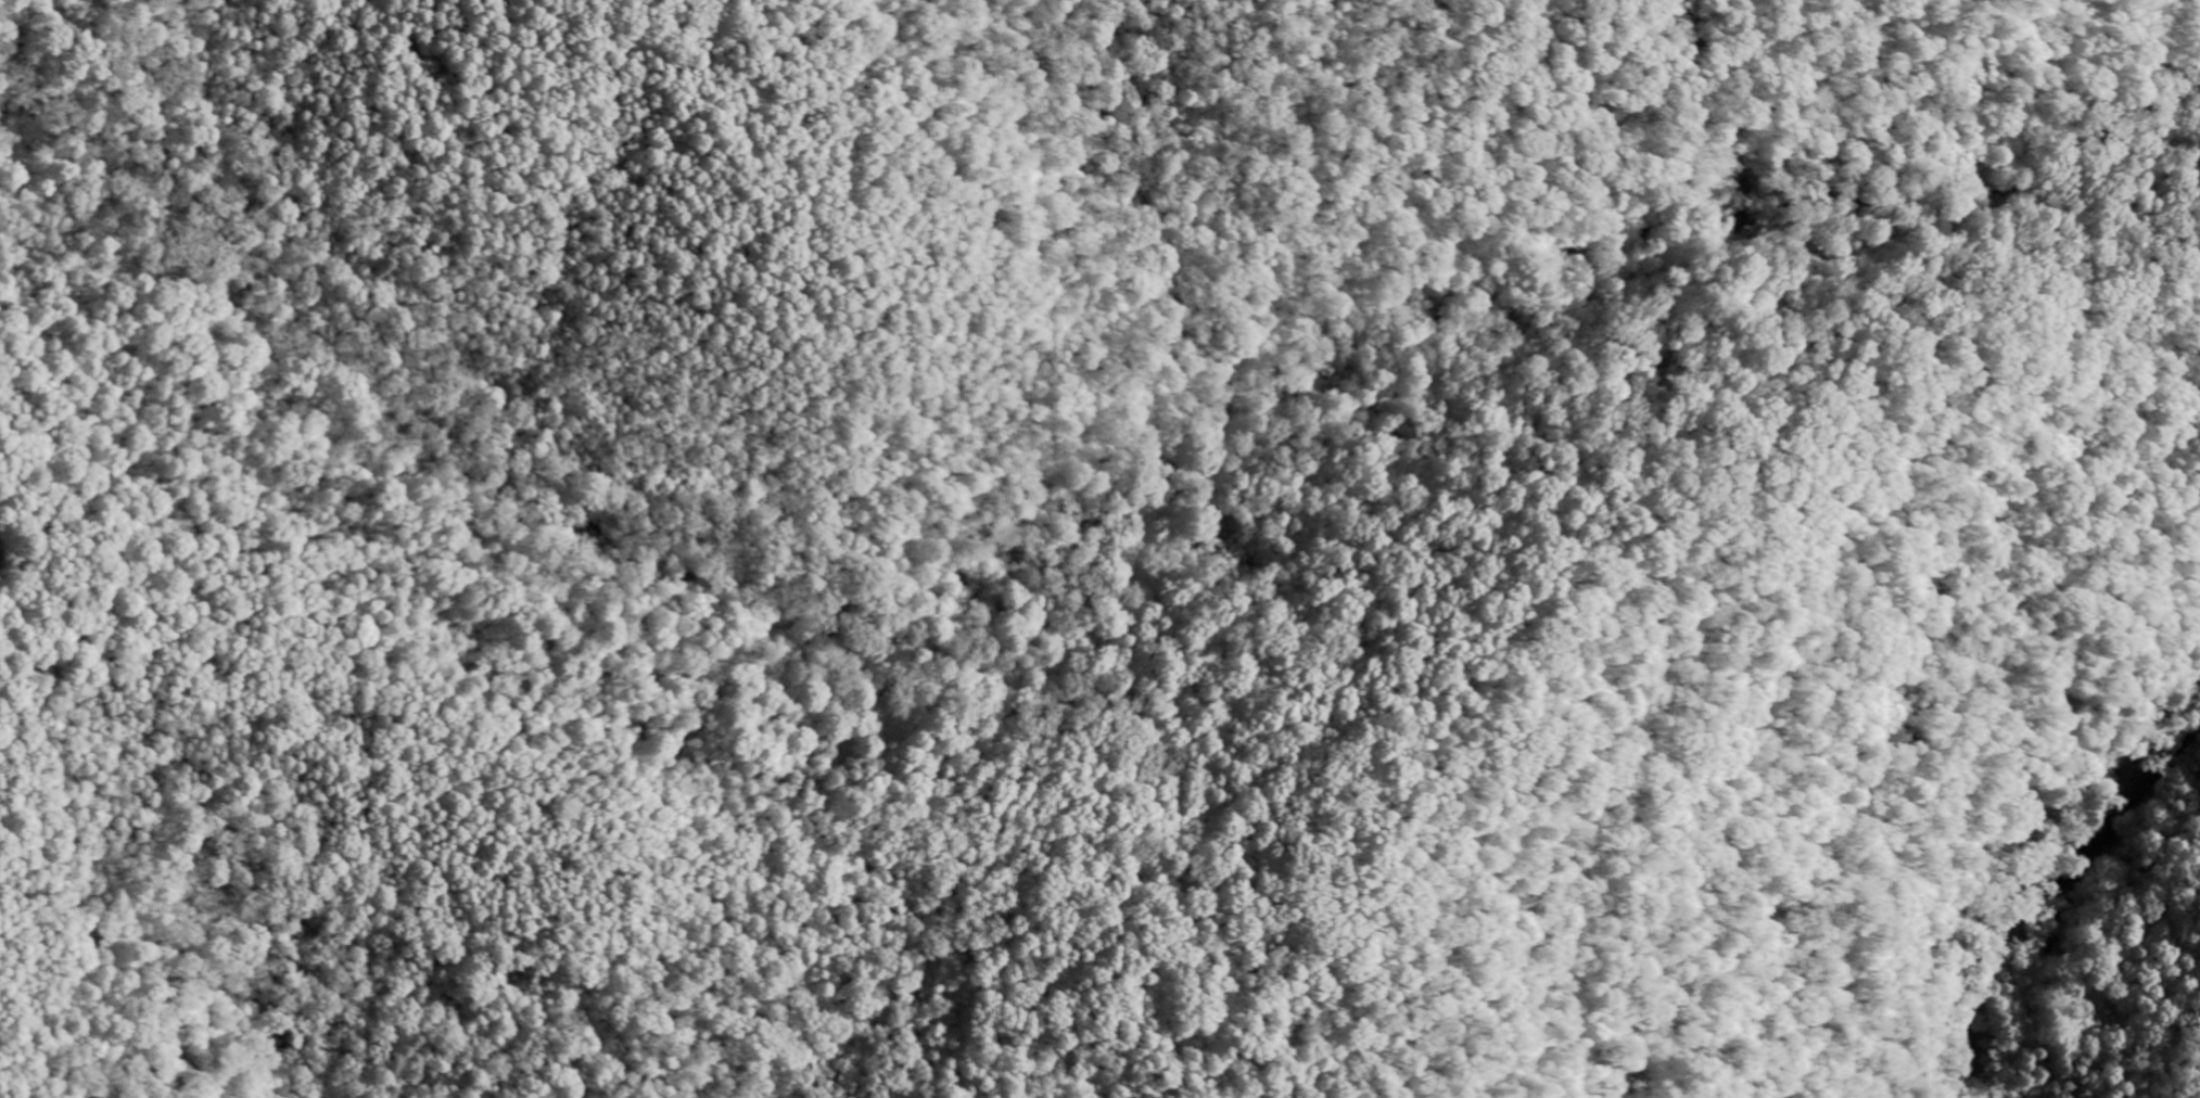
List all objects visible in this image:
road: (2150, 993)

